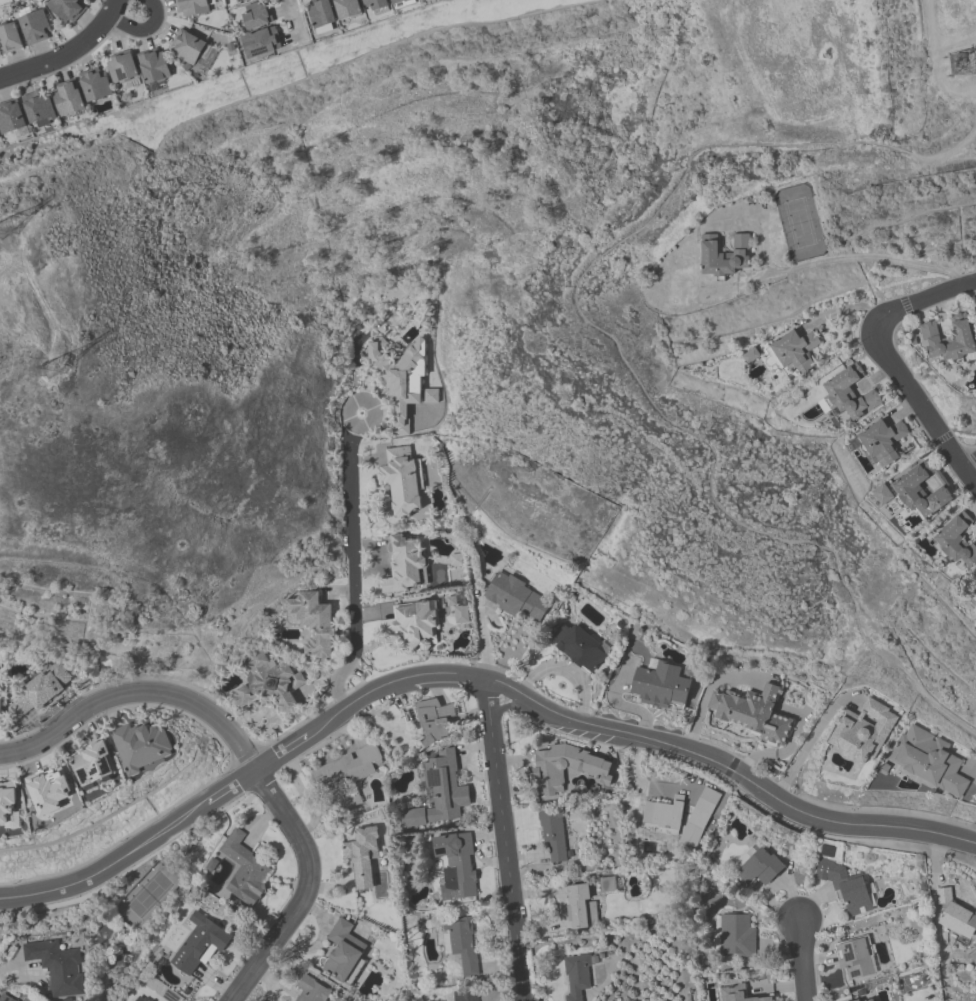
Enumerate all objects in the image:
building: (239, 1)
building: (398, 1)
building: (4, 2)
building: (375, 3)
road: (111, 7)
building: (191, 7)
building: (347, 8)
building: (65, 9)
building: (256, 15)
building: (321, 15)
building: (33, 26)
road: (141, 28)
building: (9, 37)
building: (261, 41)
building: (189, 47)
road: (59, 55)
power tower: (948, 60)
building: (153, 65)
building: (121, 67)
building: (94, 84)
building: (67, 97)
building: (37, 105)
building: (10, 116)
power tower: (6, 220)
building: (723, 255)
road: (922, 298)
building: (390, 318)
building: (948, 339)
building: (794, 350)
building: (749, 355)
power tower: (55, 361)
building: (398, 377)
building: (849, 392)
building: (428, 395)
road: (919, 404)
building: (882, 440)
road: (969, 461)
building: (939, 476)
building: (401, 480)
building: (920, 492)
building: (882, 494)
building: (956, 539)
building: (453, 558)
road: (352, 565)
building: (403, 565)
building: (515, 597)
building: (450, 601)
building: (459, 613)
building: (314, 624)
building: (413, 624)
building: (577, 646)
building: (267, 682)
building: (659, 685)
building: (38, 690)
road: (705, 691)
road: (138, 696)
building: (0, 702)
building: (752, 712)
building: (435, 720)
road: (611, 729)
building: (862, 730)
road: (804, 744)
building: (140, 746)
road: (781, 750)
building: (928, 760)
building: (93, 763)
building: (346, 766)
road: (974, 770)
building: (592, 771)
building: (438, 792)
building: (48, 793)
building: (7, 803)
building: (664, 813)
building: (701, 817)
building: (552, 833)
road: (507, 843)
road: (136, 850)
building: (361, 855)
building: (211, 864)
building: (456, 865)
building: (760, 868)
building: (244, 869)
building: (844, 886)
road: (306, 892)
building: (943, 895)
building: (580, 907)
building: (958, 921)
building: (736, 935)
building: (198, 943)
building: (462, 944)
building: (344, 953)
building: (855, 959)
road: (802, 961)
road: (2, 965)
building: (56, 966)
building: (576, 975)
building: (311, 990)
building: (736, 994)
building: (465, 995)
building: (5, 997)
building: (140, 999)
building: (855, 1000)
building: (870, 1000)

